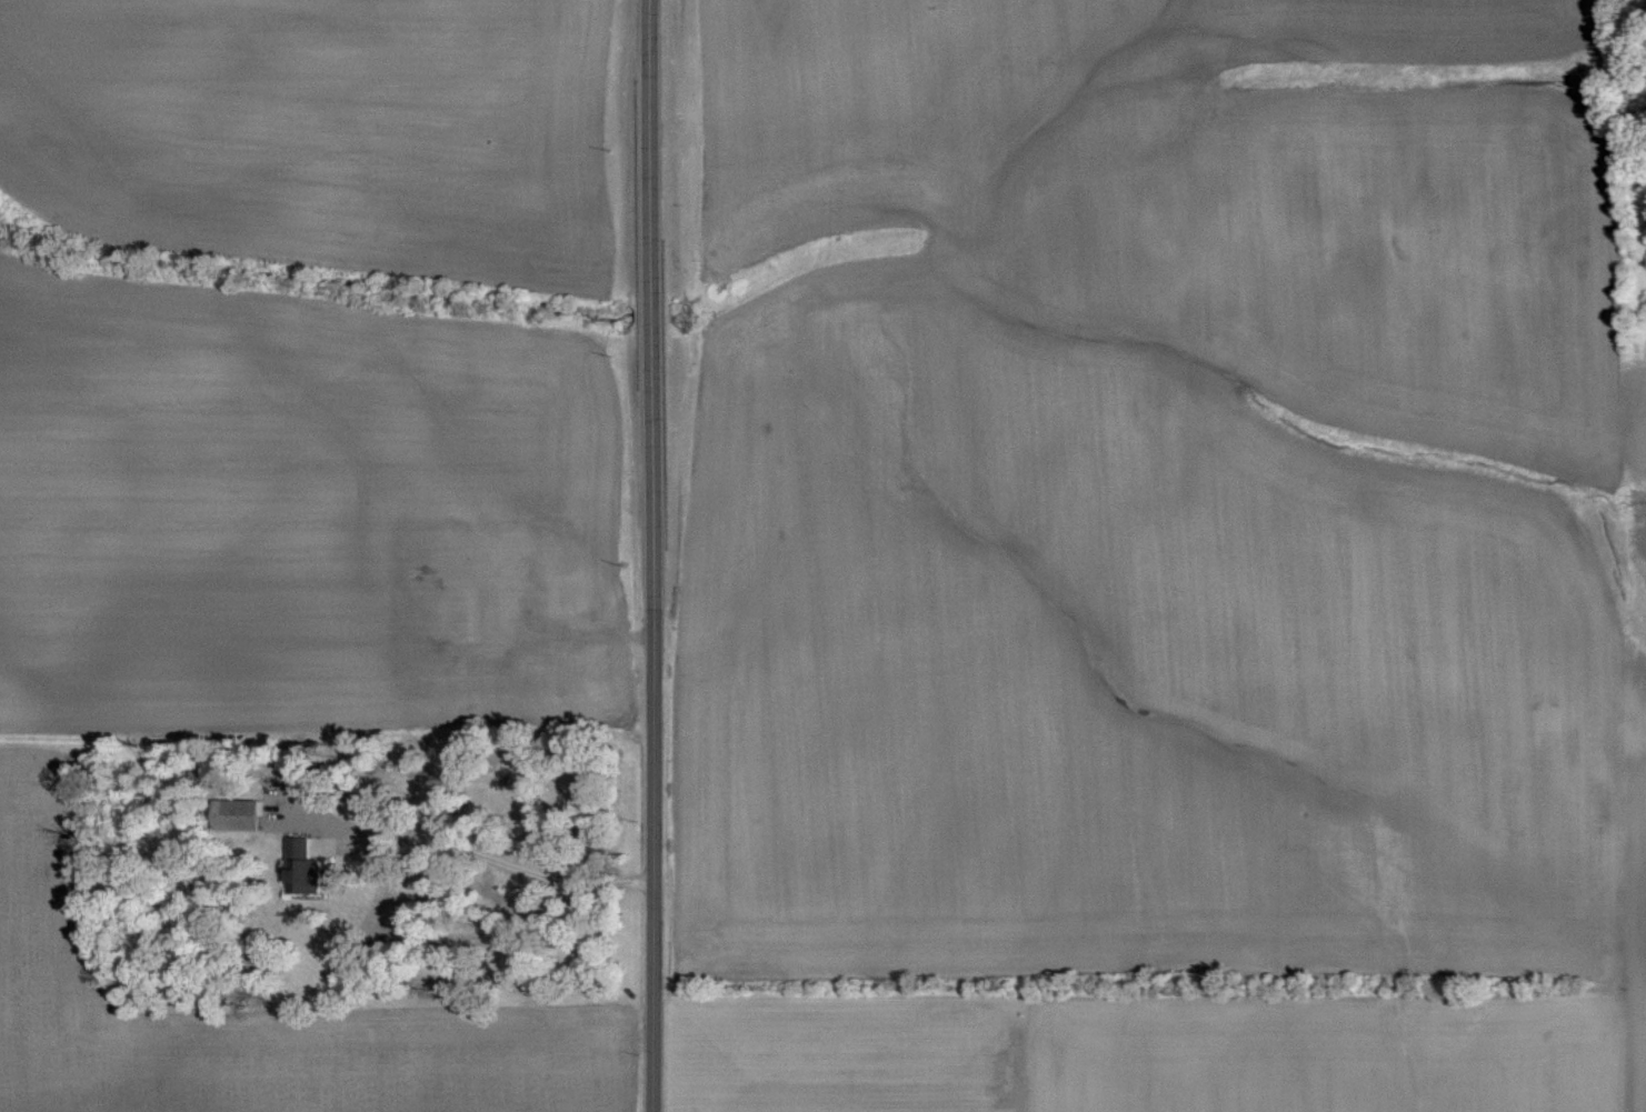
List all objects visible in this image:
road: (651, 555)
building: (568, 601)
building: (239, 814)
road: (506, 855)
building: (305, 866)

